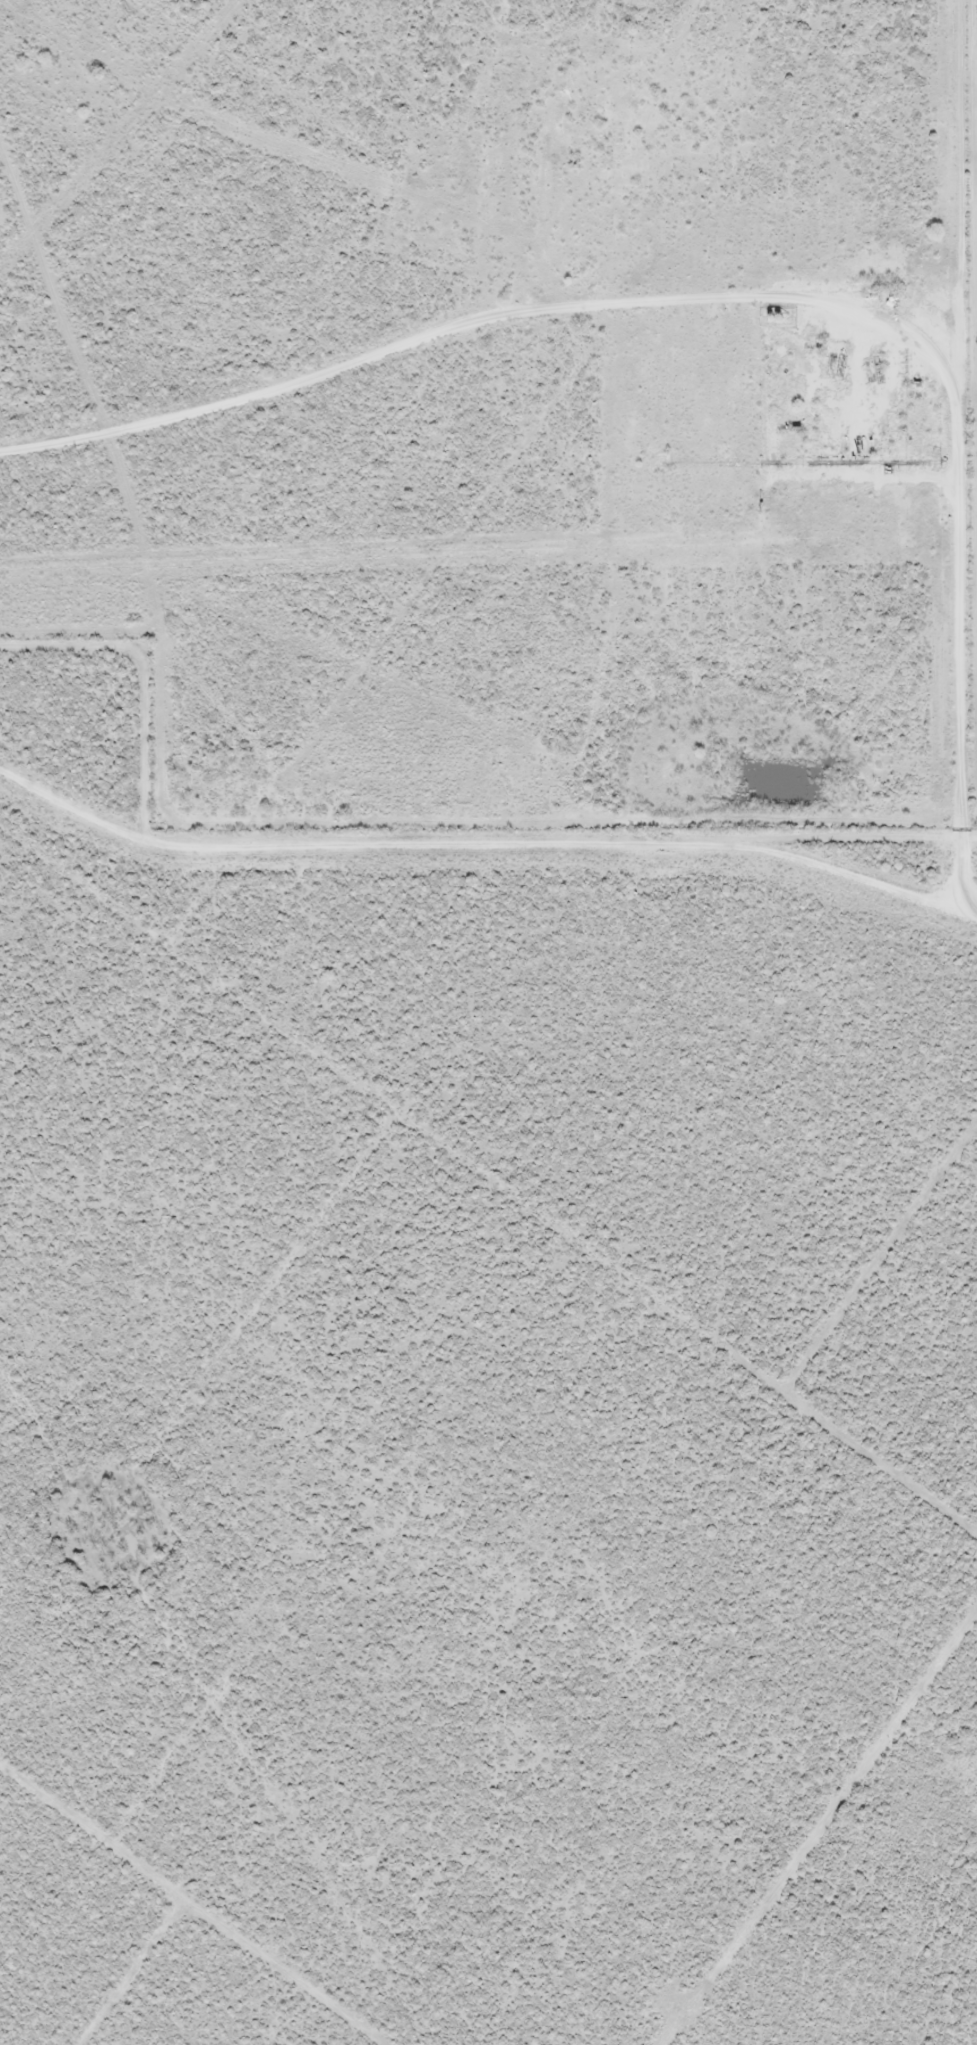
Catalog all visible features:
road: (78, 707)
road: (222, 876)

